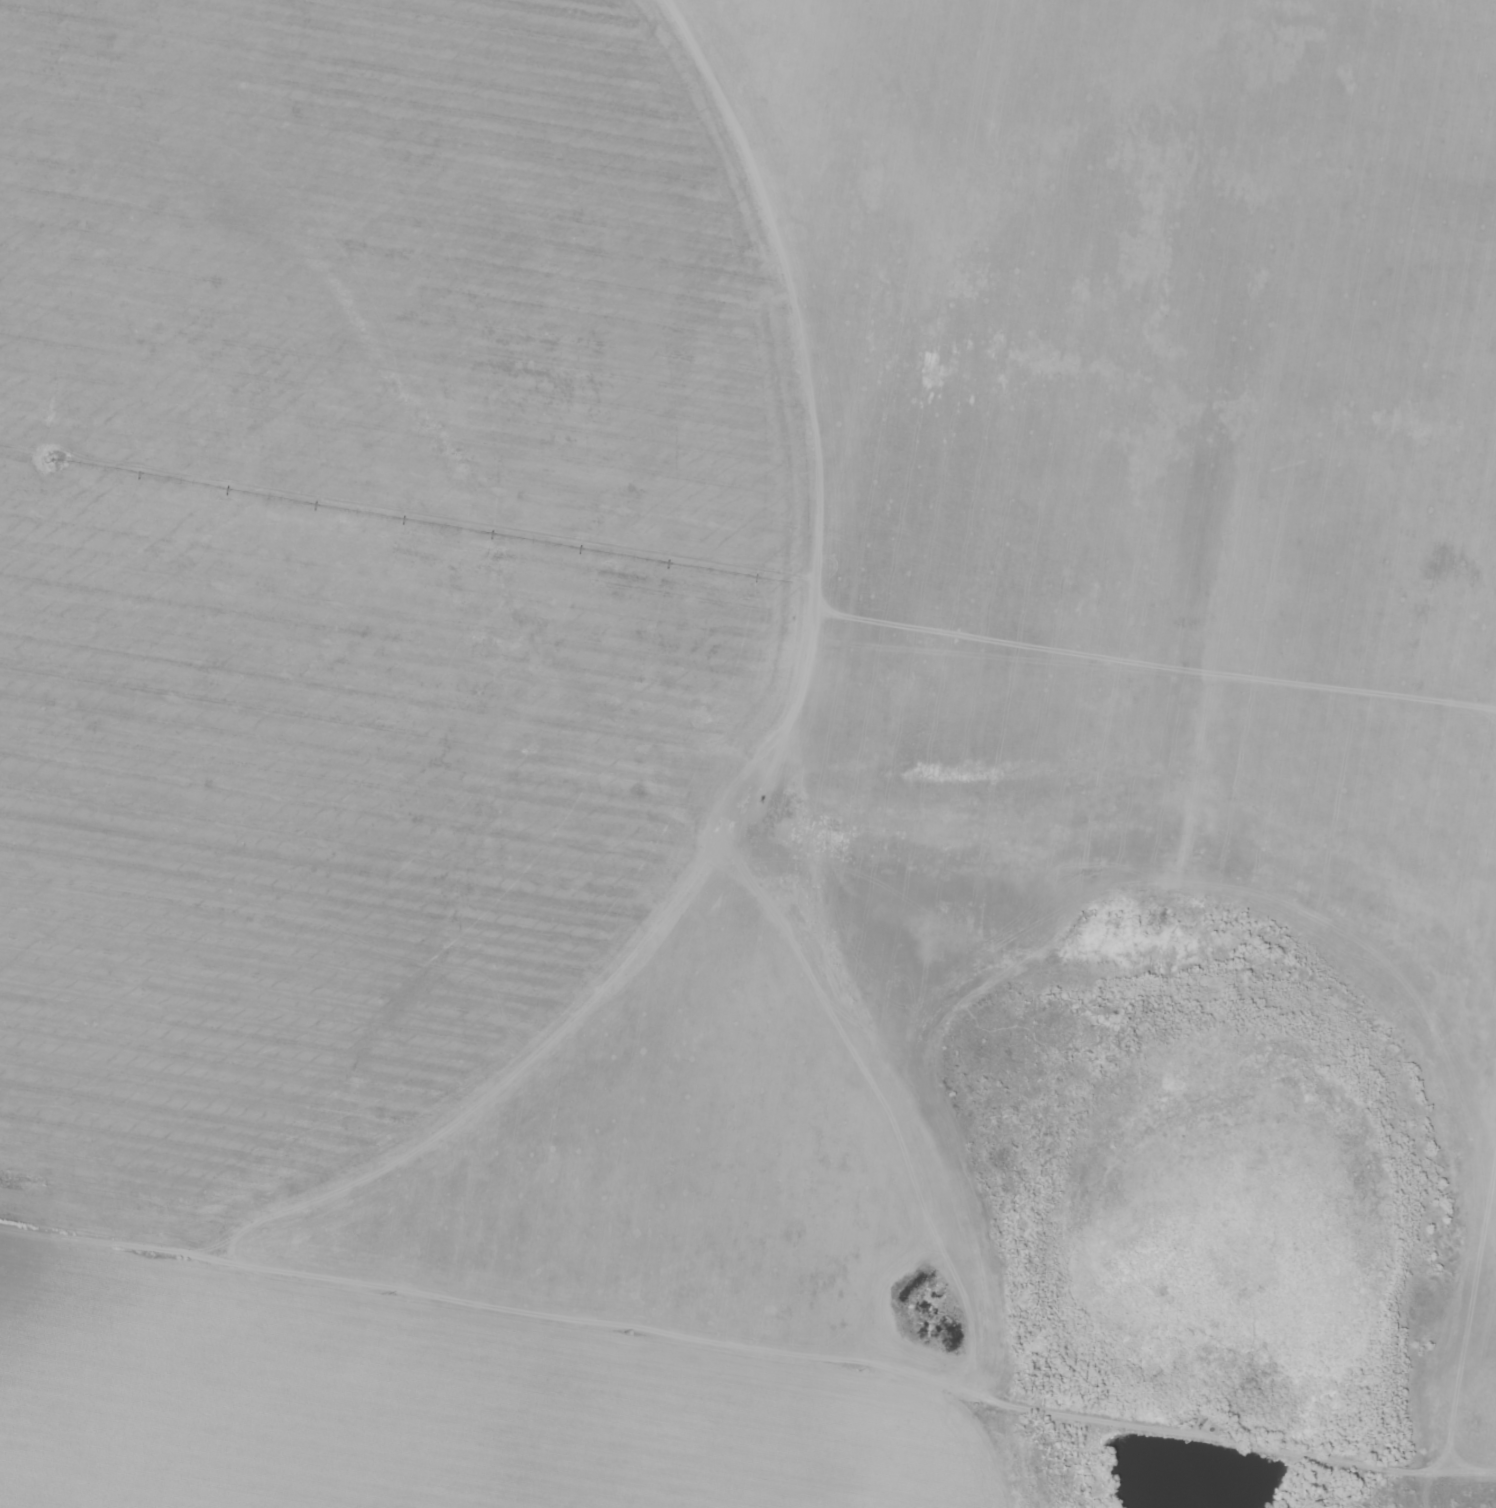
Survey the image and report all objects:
road: (603, 1325)
road: (1347, 1451)

